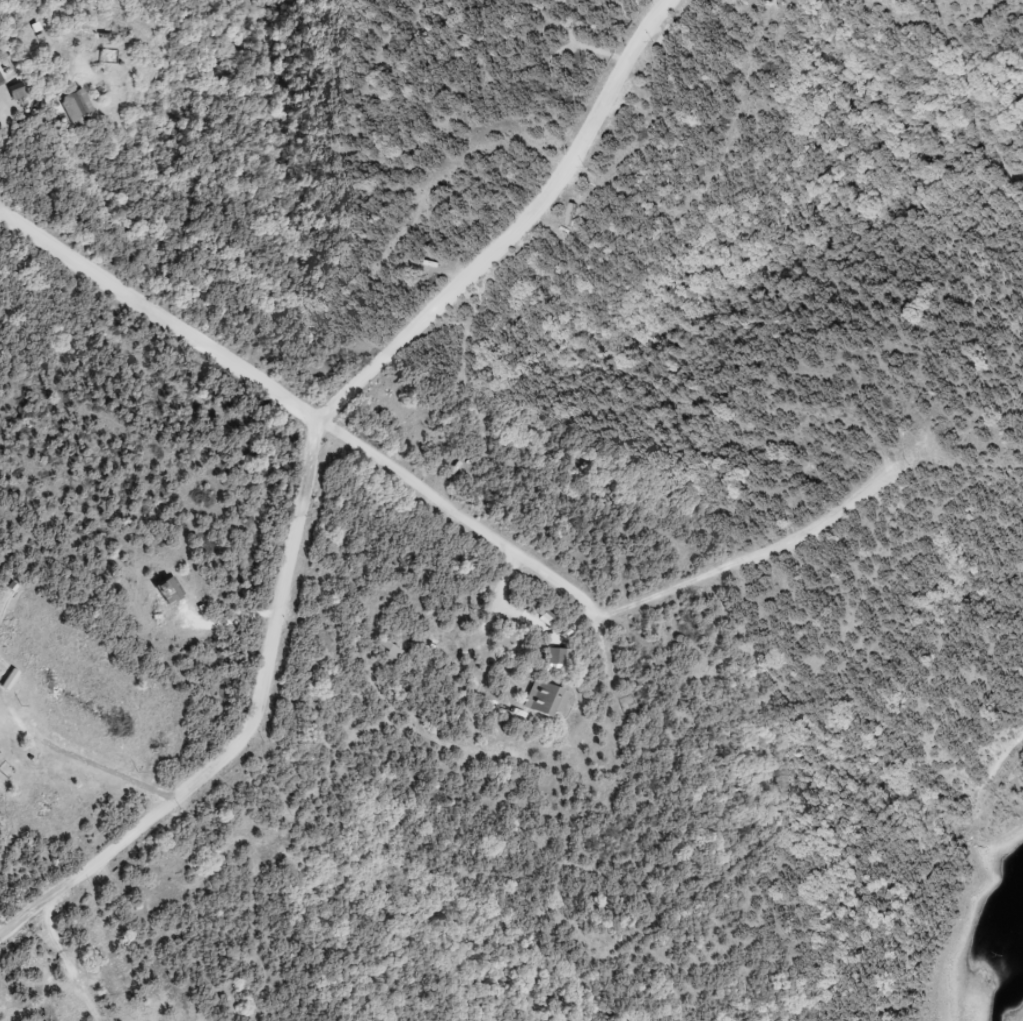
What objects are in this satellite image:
building: (2, 81)
building: (21, 93)
building: (82, 108)
road: (169, 316)
road: (329, 461)
building: (172, 592)
road: (610, 594)
building: (562, 657)
building: (550, 699)
road: (91, 757)
road: (15, 925)
road: (37, 966)

